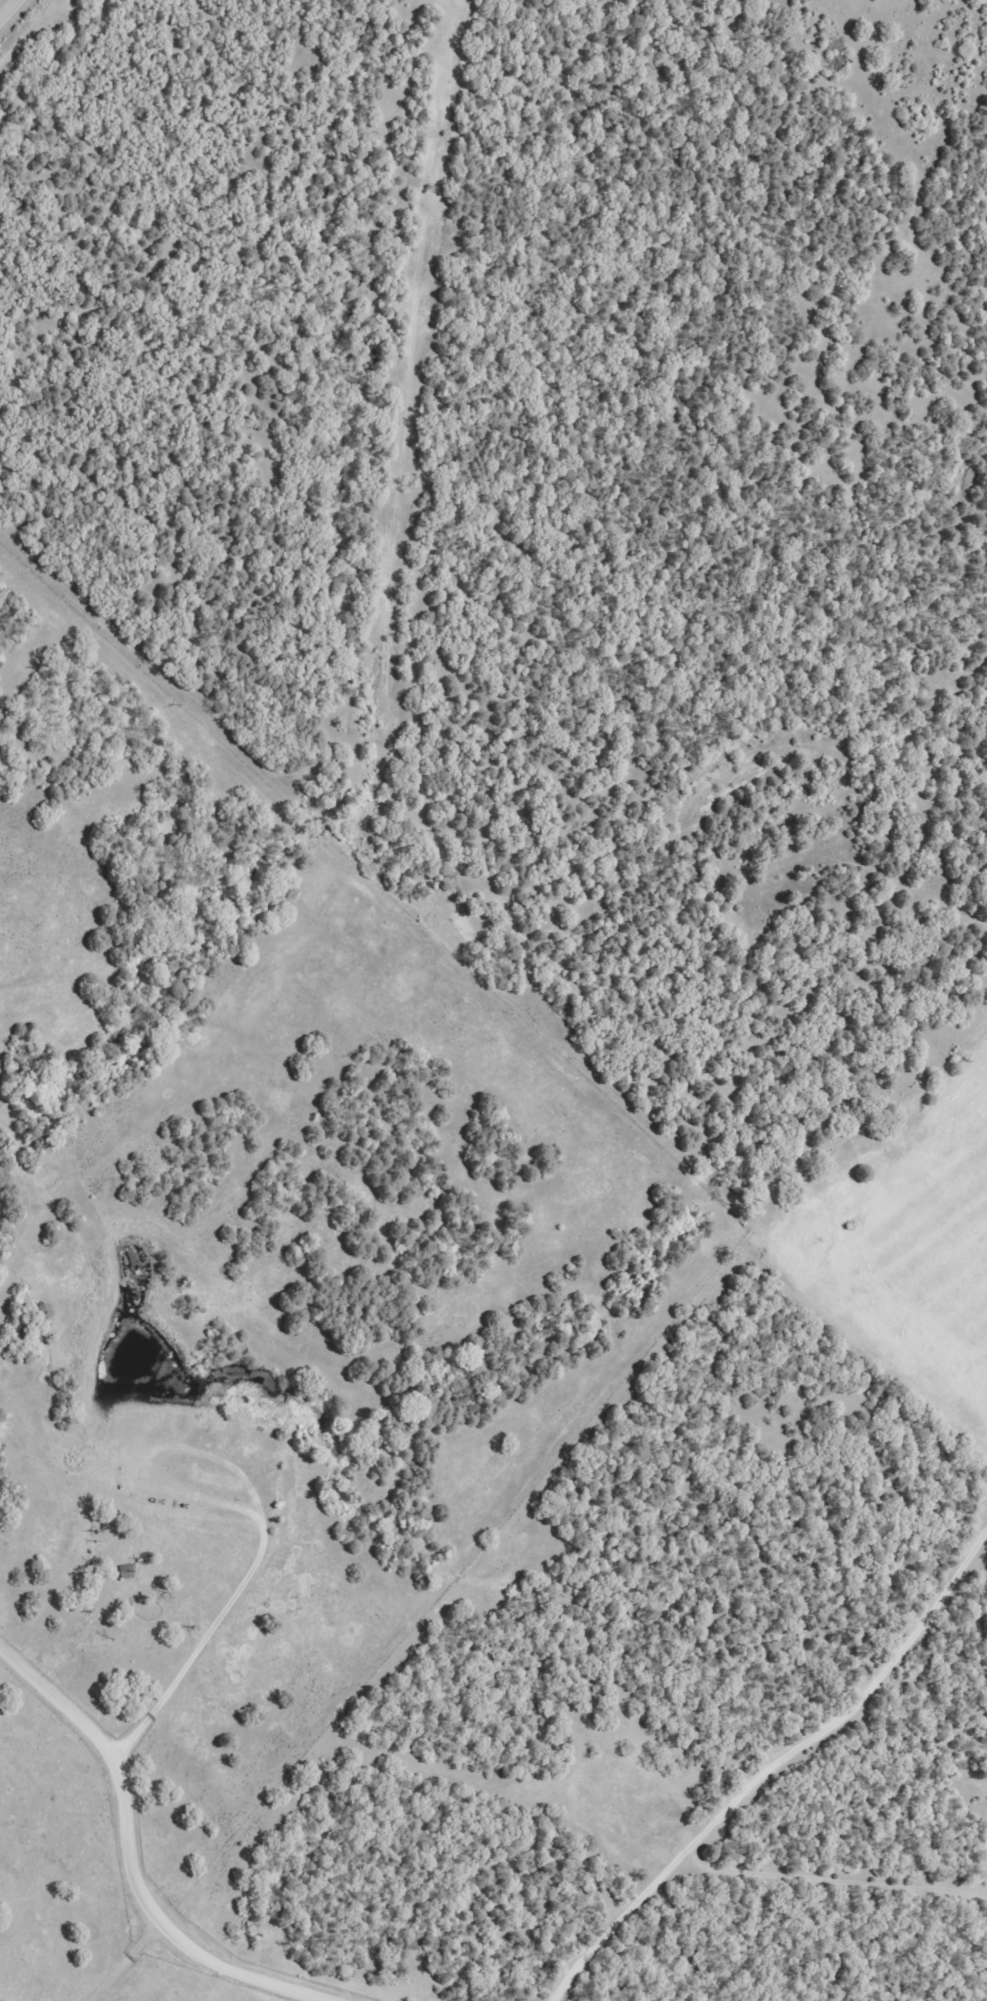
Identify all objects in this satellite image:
road: (6, 7)
road: (855, 1706)
road: (128, 1856)
road: (737, 1866)

